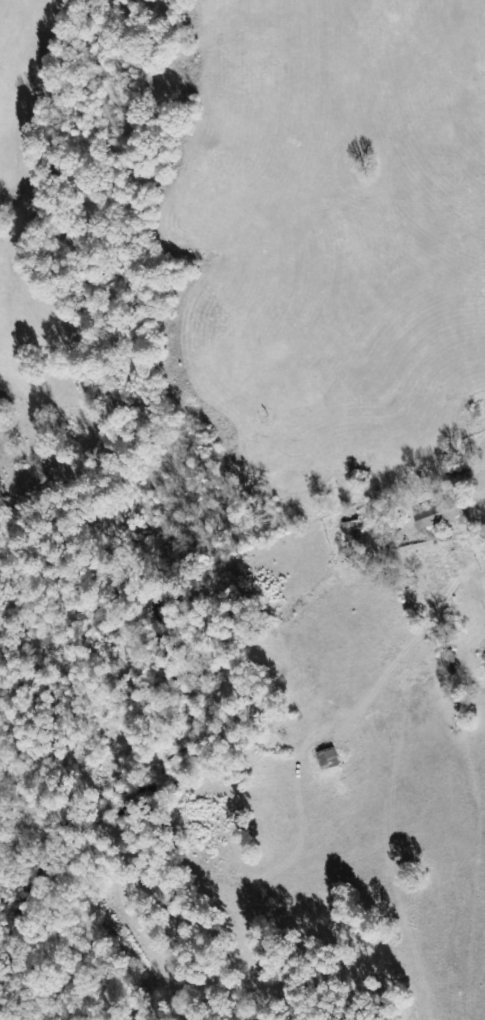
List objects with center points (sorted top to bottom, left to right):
building: (437, 513)
building: (354, 523)
building: (327, 757)

